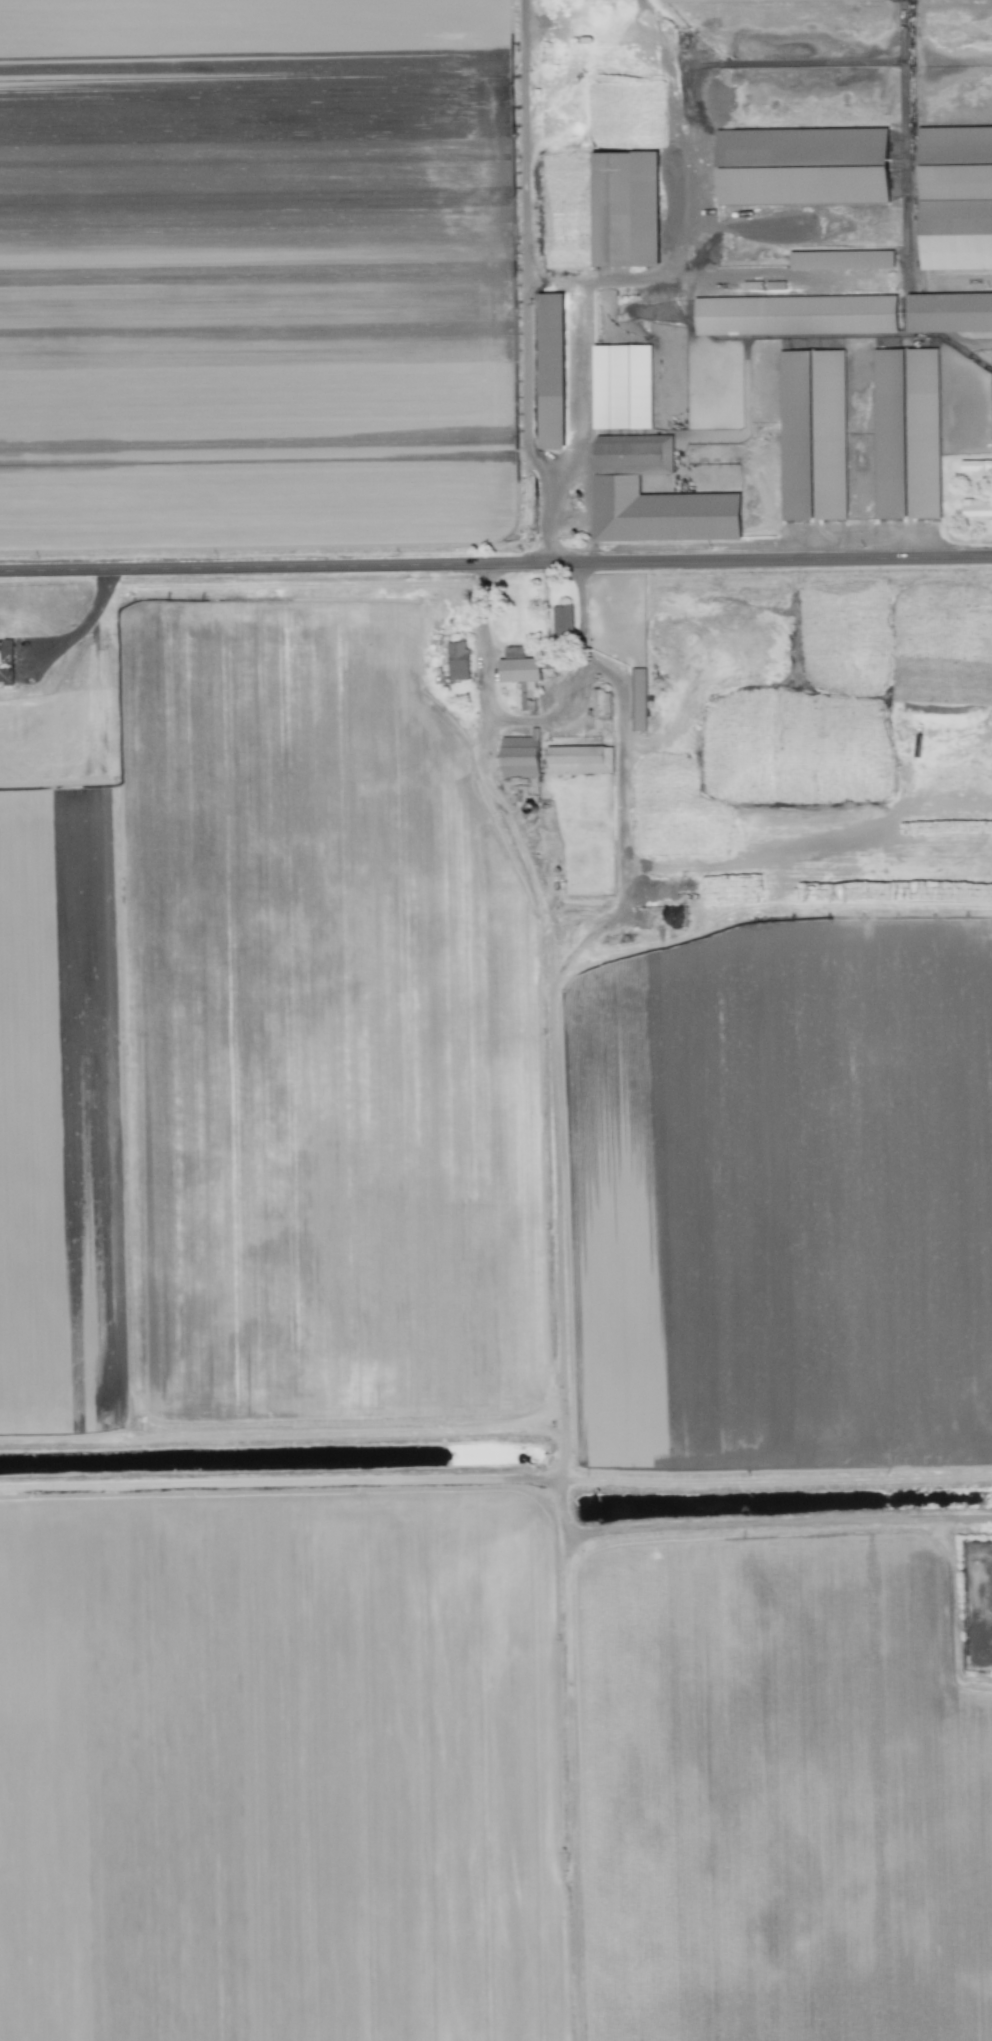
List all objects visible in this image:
building: (695, 1)
building: (803, 166)
building: (955, 198)
road: (684, 202)
building: (625, 209)
building: (841, 260)
road: (525, 282)
building: (949, 313)
building: (795, 315)
building: (551, 372)
building: (622, 387)
building: (905, 434)
building: (814, 435)
building: (977, 467)
building: (653, 497)
building: (976, 508)
road: (495, 564)
building: (562, 622)
building: (458, 661)
building: (6, 662)
building: (519, 673)
building: (638, 700)
building: (600, 703)
road: (530, 720)
building: (520, 755)
building: (579, 760)

